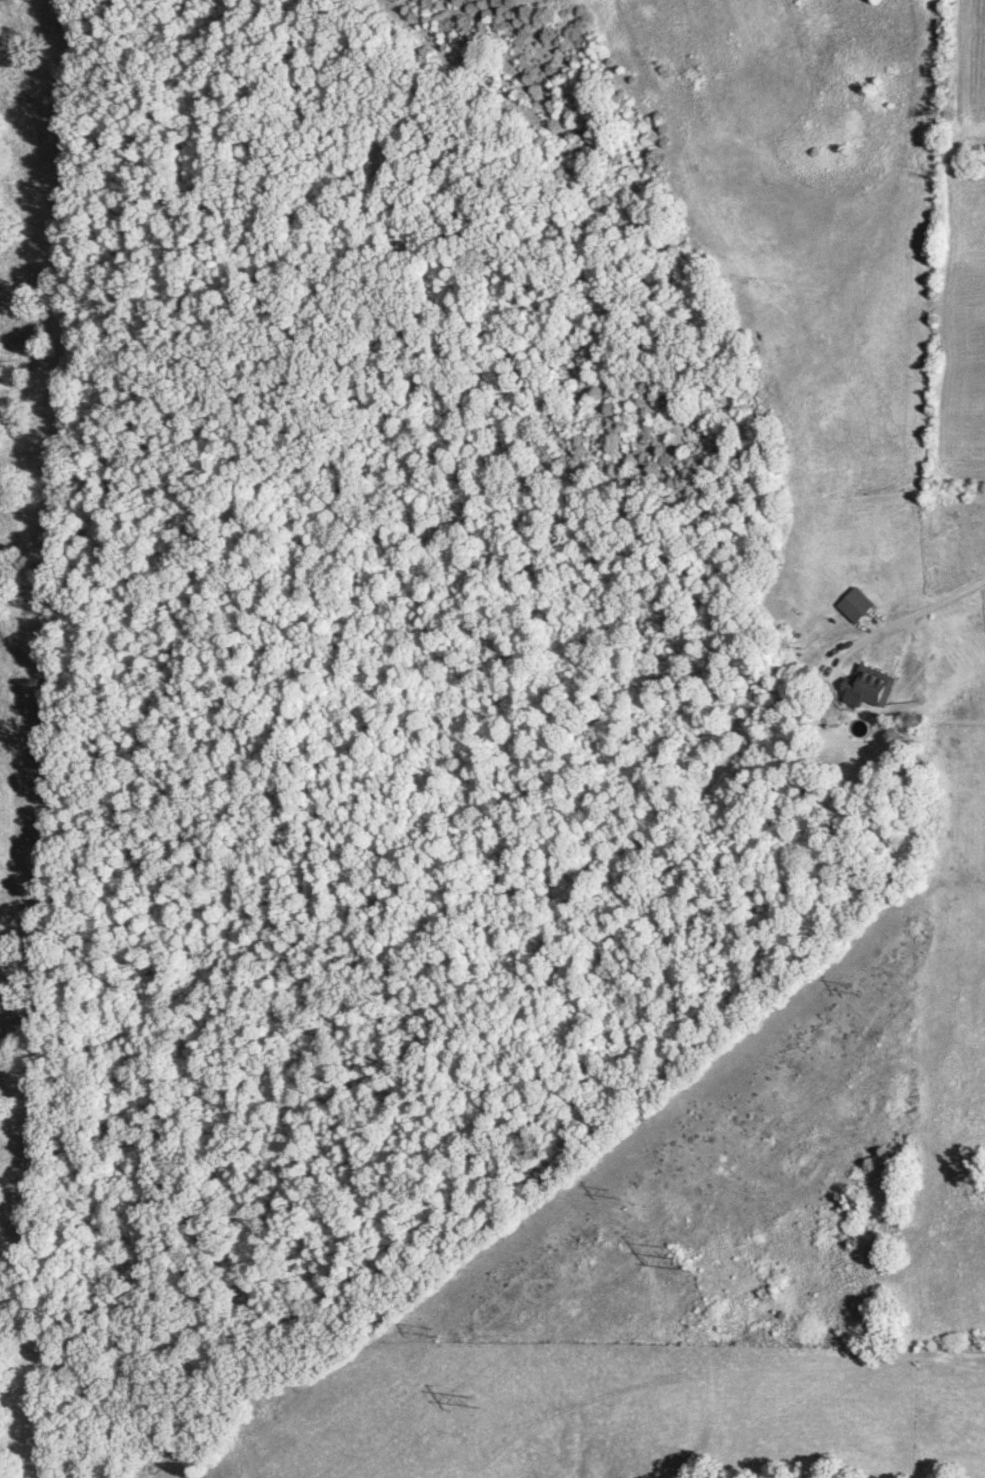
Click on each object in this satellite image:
building: (857, 605)
road: (913, 617)
building: (870, 686)
power tower: (673, 1259)
power tower: (486, 1403)

